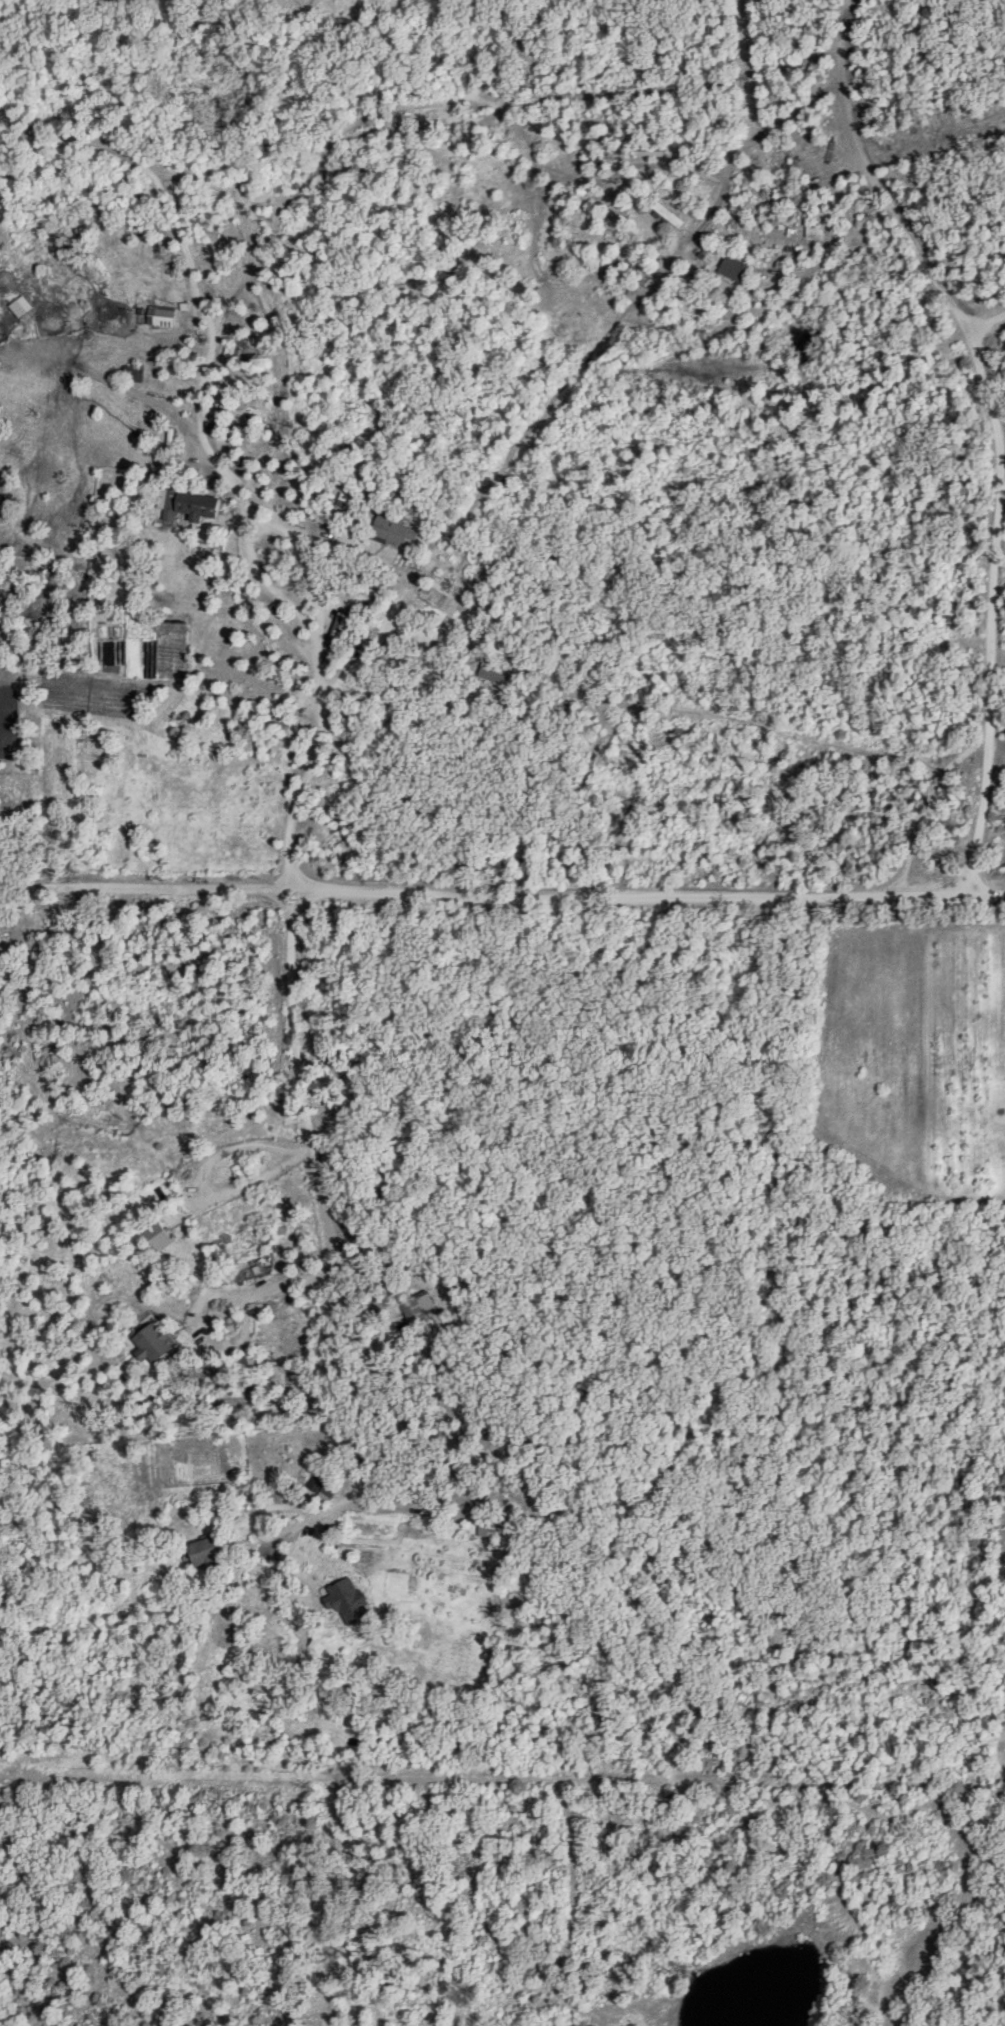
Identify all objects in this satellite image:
road: (348, 130)
building: (827, 135)
building: (598, 163)
road: (866, 173)
building: (669, 212)
building: (736, 271)
building: (20, 306)
building: (162, 314)
road: (986, 318)
building: (135, 373)
road: (537, 446)
building: (6, 505)
building: (192, 505)
building: (394, 531)
road: (339, 538)
building: (341, 626)
road: (987, 627)
road: (500, 892)
building: (419, 1308)
building: (153, 1341)
building: (251, 1361)
building: (206, 1548)

